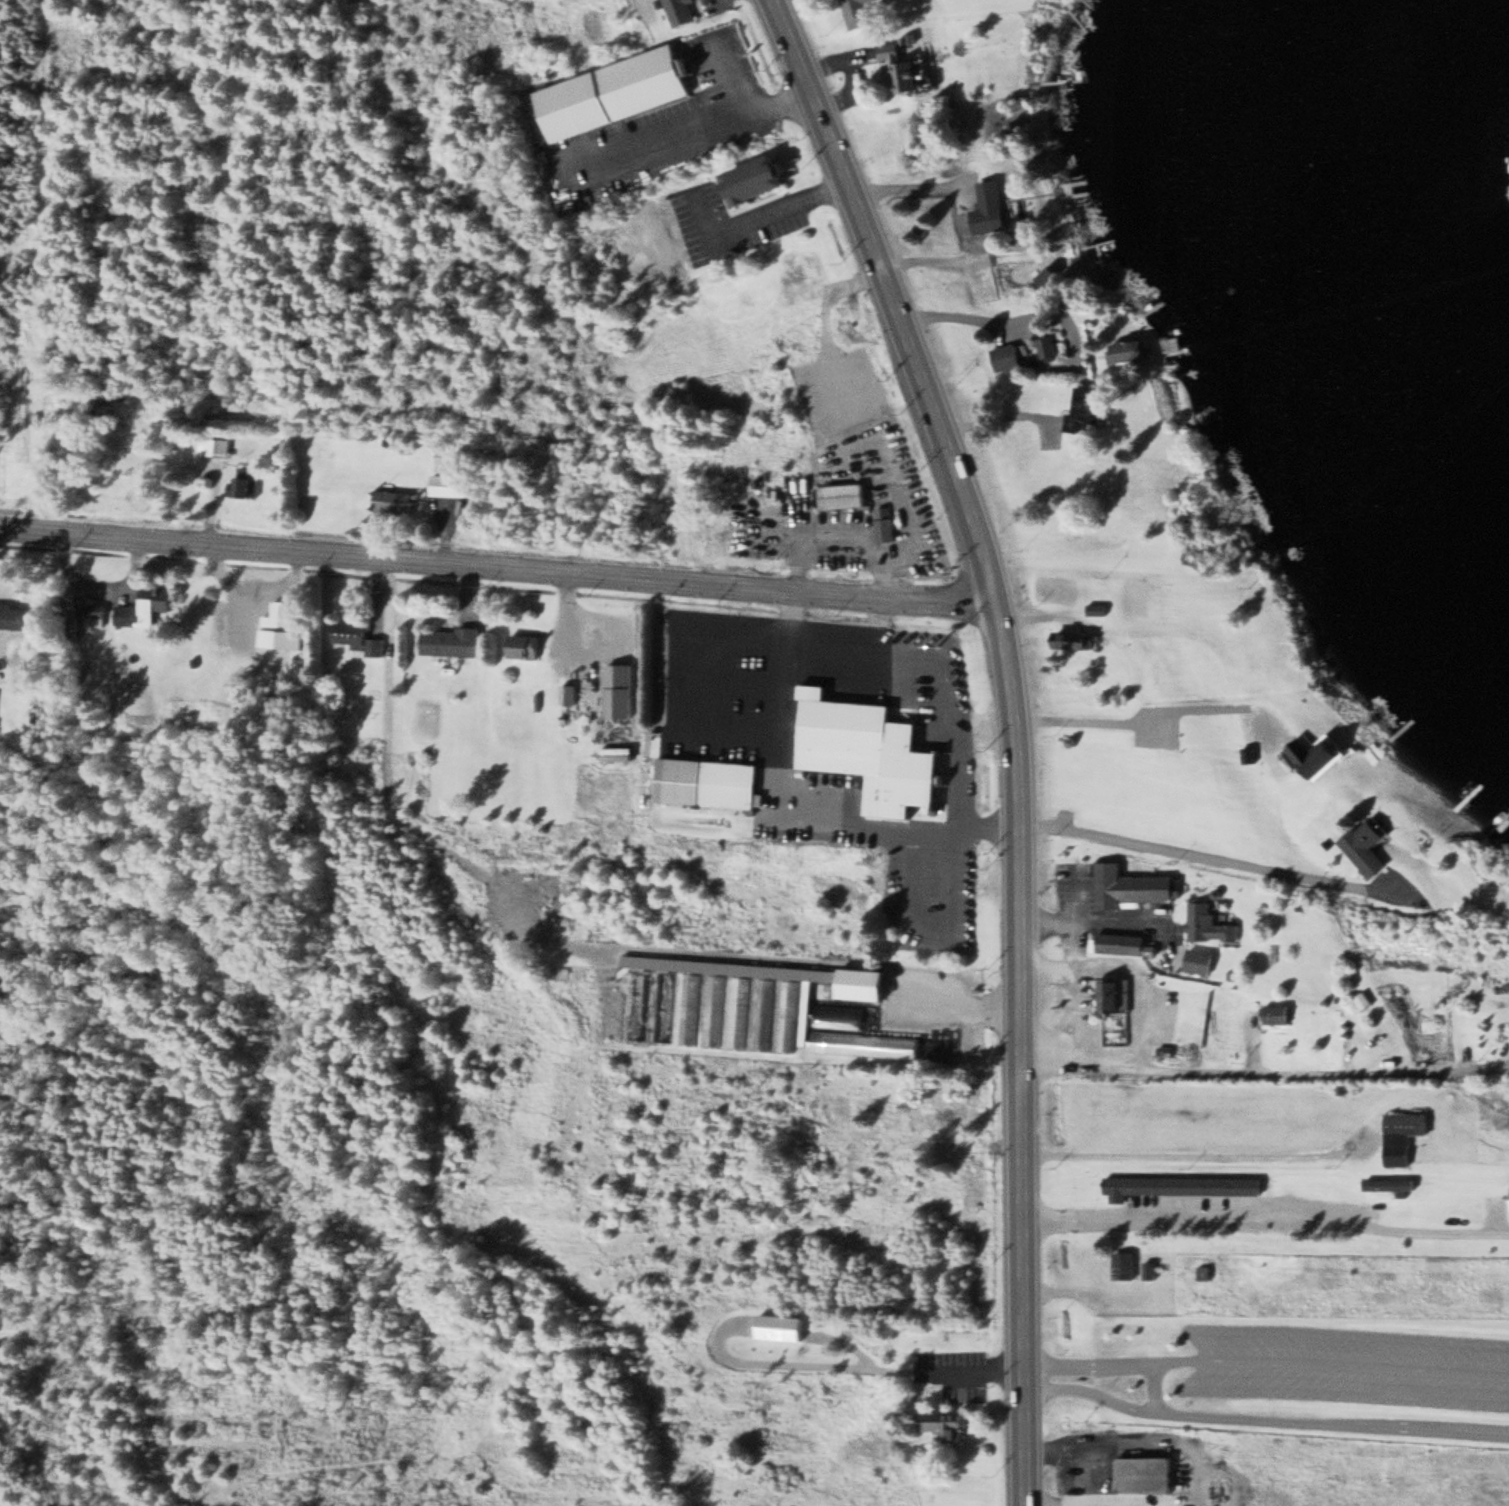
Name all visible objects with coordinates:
building: (678, 11)
building: (857, 12)
building: (900, 66)
building: (614, 91)
building: (756, 178)
building: (990, 207)
river: (1392, 219)
building: (788, 276)
building: (1046, 346)
building: (1130, 349)
building: (1001, 356)
building: (1083, 409)
building: (212, 446)
building: (245, 483)
building: (450, 484)
building: (840, 496)
building: (390, 500)
building: (883, 524)
road: (497, 566)
building: (142, 608)
building: (1095, 609)
building: (94, 613)
building: (15, 616)
building: (279, 627)
building: (356, 636)
building: (1074, 640)
building: (449, 641)
building: (524, 645)
building: (618, 690)
building: (566, 694)
road: (1010, 731)
building: (855, 739)
building: (1246, 755)
building: (1315, 755)
building: (708, 783)
building: (914, 807)
building: (1366, 847)
road: (1192, 854)
building: (1131, 886)
building: (943, 915)
building: (1206, 922)
building: (1120, 943)
building: (1198, 961)
building: (863, 983)
building: (1111, 995)
building: (1362, 1000)
building: (637, 1004)
building: (662, 1006)
building: (686, 1008)
building: (711, 1010)
building: (736, 1012)
building: (760, 1014)
building: (1275, 1014)
building: (785, 1015)
building: (805, 1015)
road: (1262, 1070)
building: (1402, 1135)
road: (1192, 1154)
building: (1387, 1184)
building: (1179, 1186)
building: (1122, 1266)
building: (1147, 1270)
building: (1203, 1272)
road: (1265, 1361)
road: (1153, 1387)
road: (1263, 1420)
building: (942, 1424)
building: (1144, 1473)

